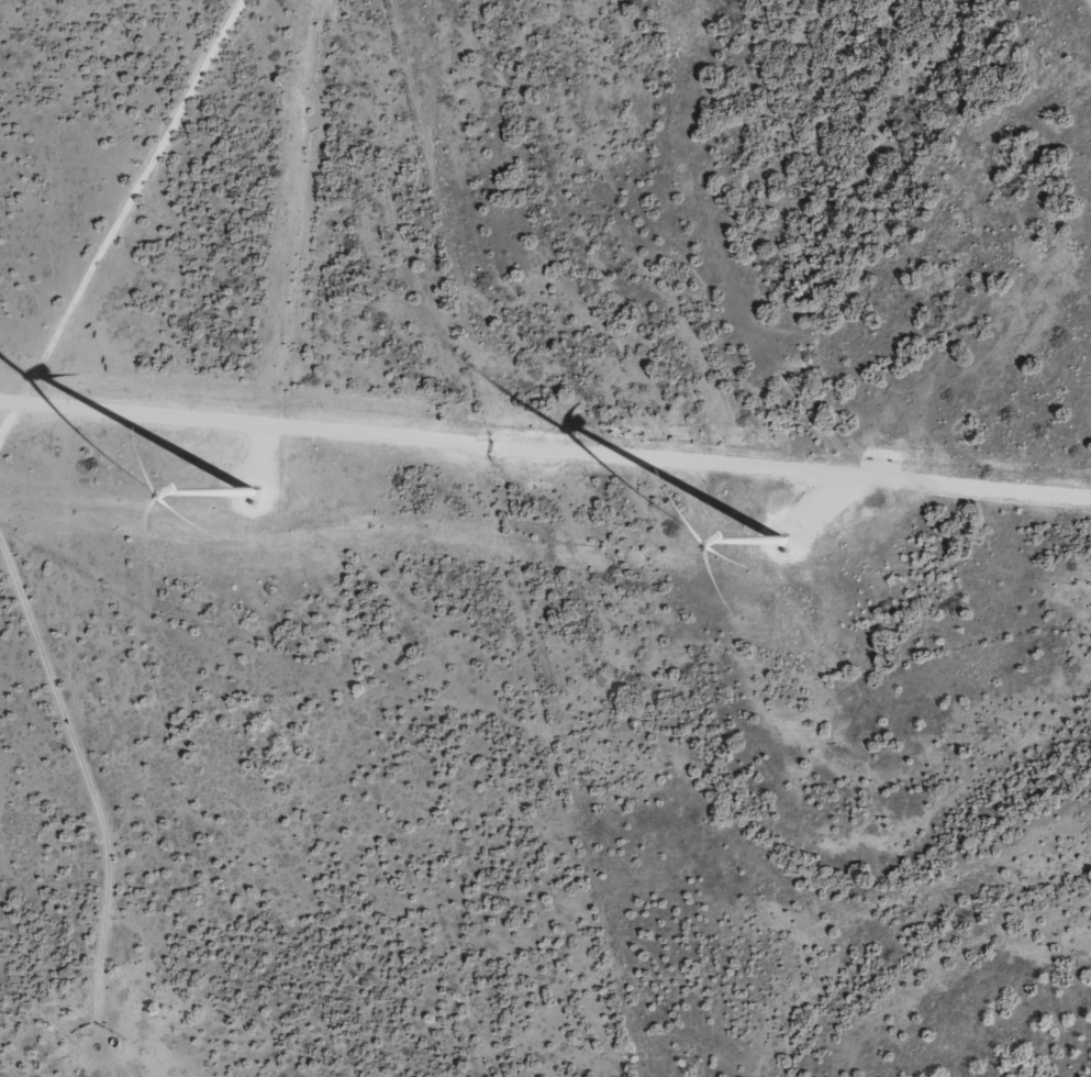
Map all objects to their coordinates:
road: (181, 259)
wind turbine: (252, 471)
wind turbine: (781, 524)

